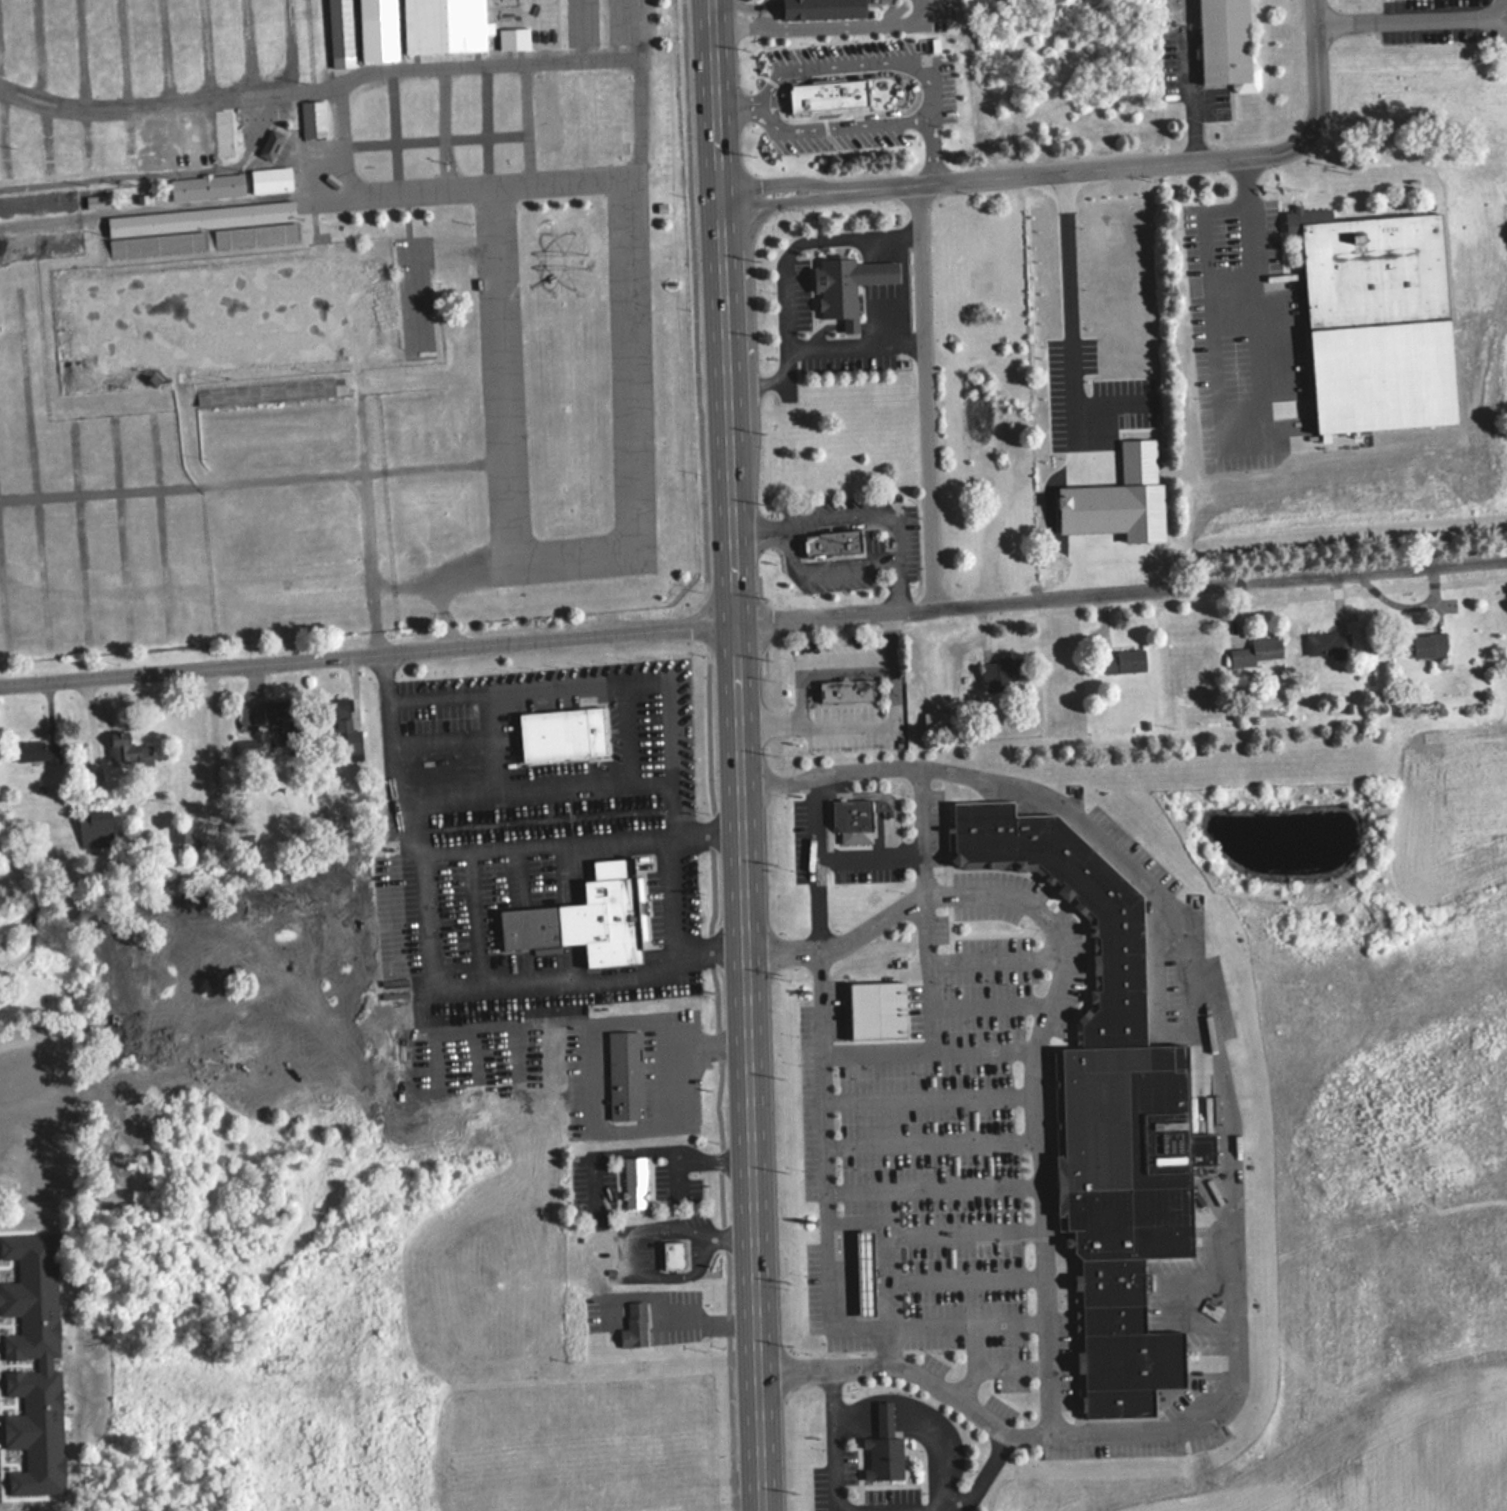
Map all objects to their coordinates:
road: (737, 5)
building: (831, 8)
road: (1412, 17)
building: (444, 26)
road: (821, 26)
building: (338, 27)
building: (512, 34)
building: (1224, 43)
road: (290, 45)
road: (247, 48)
road: (204, 50)
road: (37, 51)
road: (166, 52)
road: (122, 55)
road: (78, 56)
road: (520, 63)
road: (840, 66)
road: (1318, 67)
building: (838, 96)
road: (171, 104)
building: (312, 118)
road: (529, 122)
road: (487, 125)
road: (823, 126)
road: (445, 128)
road: (211, 130)
building: (376, 130)
road: (394, 133)
road: (170, 135)
road: (129, 138)
road: (435, 138)
road: (2, 139)
road: (44, 140)
road: (85, 141)
building: (270, 145)
road: (937, 147)
road: (1017, 171)
road: (154, 173)
road: (628, 173)
building: (270, 179)
building: (206, 187)
road: (360, 195)
building: (44, 201)
road: (71, 222)
building: (200, 228)
building: (47, 244)
building: (1371, 266)
road: (1253, 280)
building: (859, 286)
building: (1074, 351)
road: (925, 392)
road: (360, 415)
road: (191, 431)
road: (34, 463)
road: (348, 471)
road: (107, 488)
road: (161, 522)
road: (124, 526)
road: (758, 527)
road: (81, 531)
road: (785, 542)
building: (844, 544)
road: (372, 562)
road: (896, 562)
road: (438, 582)
road: (5, 586)
road: (753, 621)
building: (1329, 644)
building: (1429, 645)
building: (1257, 651)
building: (1123, 661)
road: (814, 663)
building: (1003, 672)
road: (657, 679)
building: (859, 690)
road: (867, 719)
building: (943, 720)
building: (346, 730)
building: (574, 736)
building: (128, 750)
building: (37, 751)
road: (737, 755)
road: (890, 793)
road: (929, 809)
building: (860, 814)
building: (94, 831)
building: (182, 834)
road: (580, 836)
road: (899, 855)
road: (825, 861)
building: (599, 920)
road: (1001, 959)
building: (1129, 963)
road: (934, 975)
road: (430, 976)
road: (997, 1006)
building: (890, 1010)
road: (933, 1053)
building: (635, 1076)
road: (935, 1098)
road: (832, 1140)
road: (937, 1144)
building: (1140, 1153)
building: (643, 1182)
road: (938, 1187)
road: (968, 1230)
road: (892, 1245)
building: (672, 1255)
building: (686, 1255)
building: (867, 1272)
road: (970, 1278)
building: (645, 1326)
road: (943, 1327)
building: (1134, 1343)
road: (895, 1346)
road: (912, 1375)
road: (863, 1415)
road: (894, 1415)
road: (1216, 1422)
road: (949, 1447)
building: (893, 1449)
road: (873, 1510)

